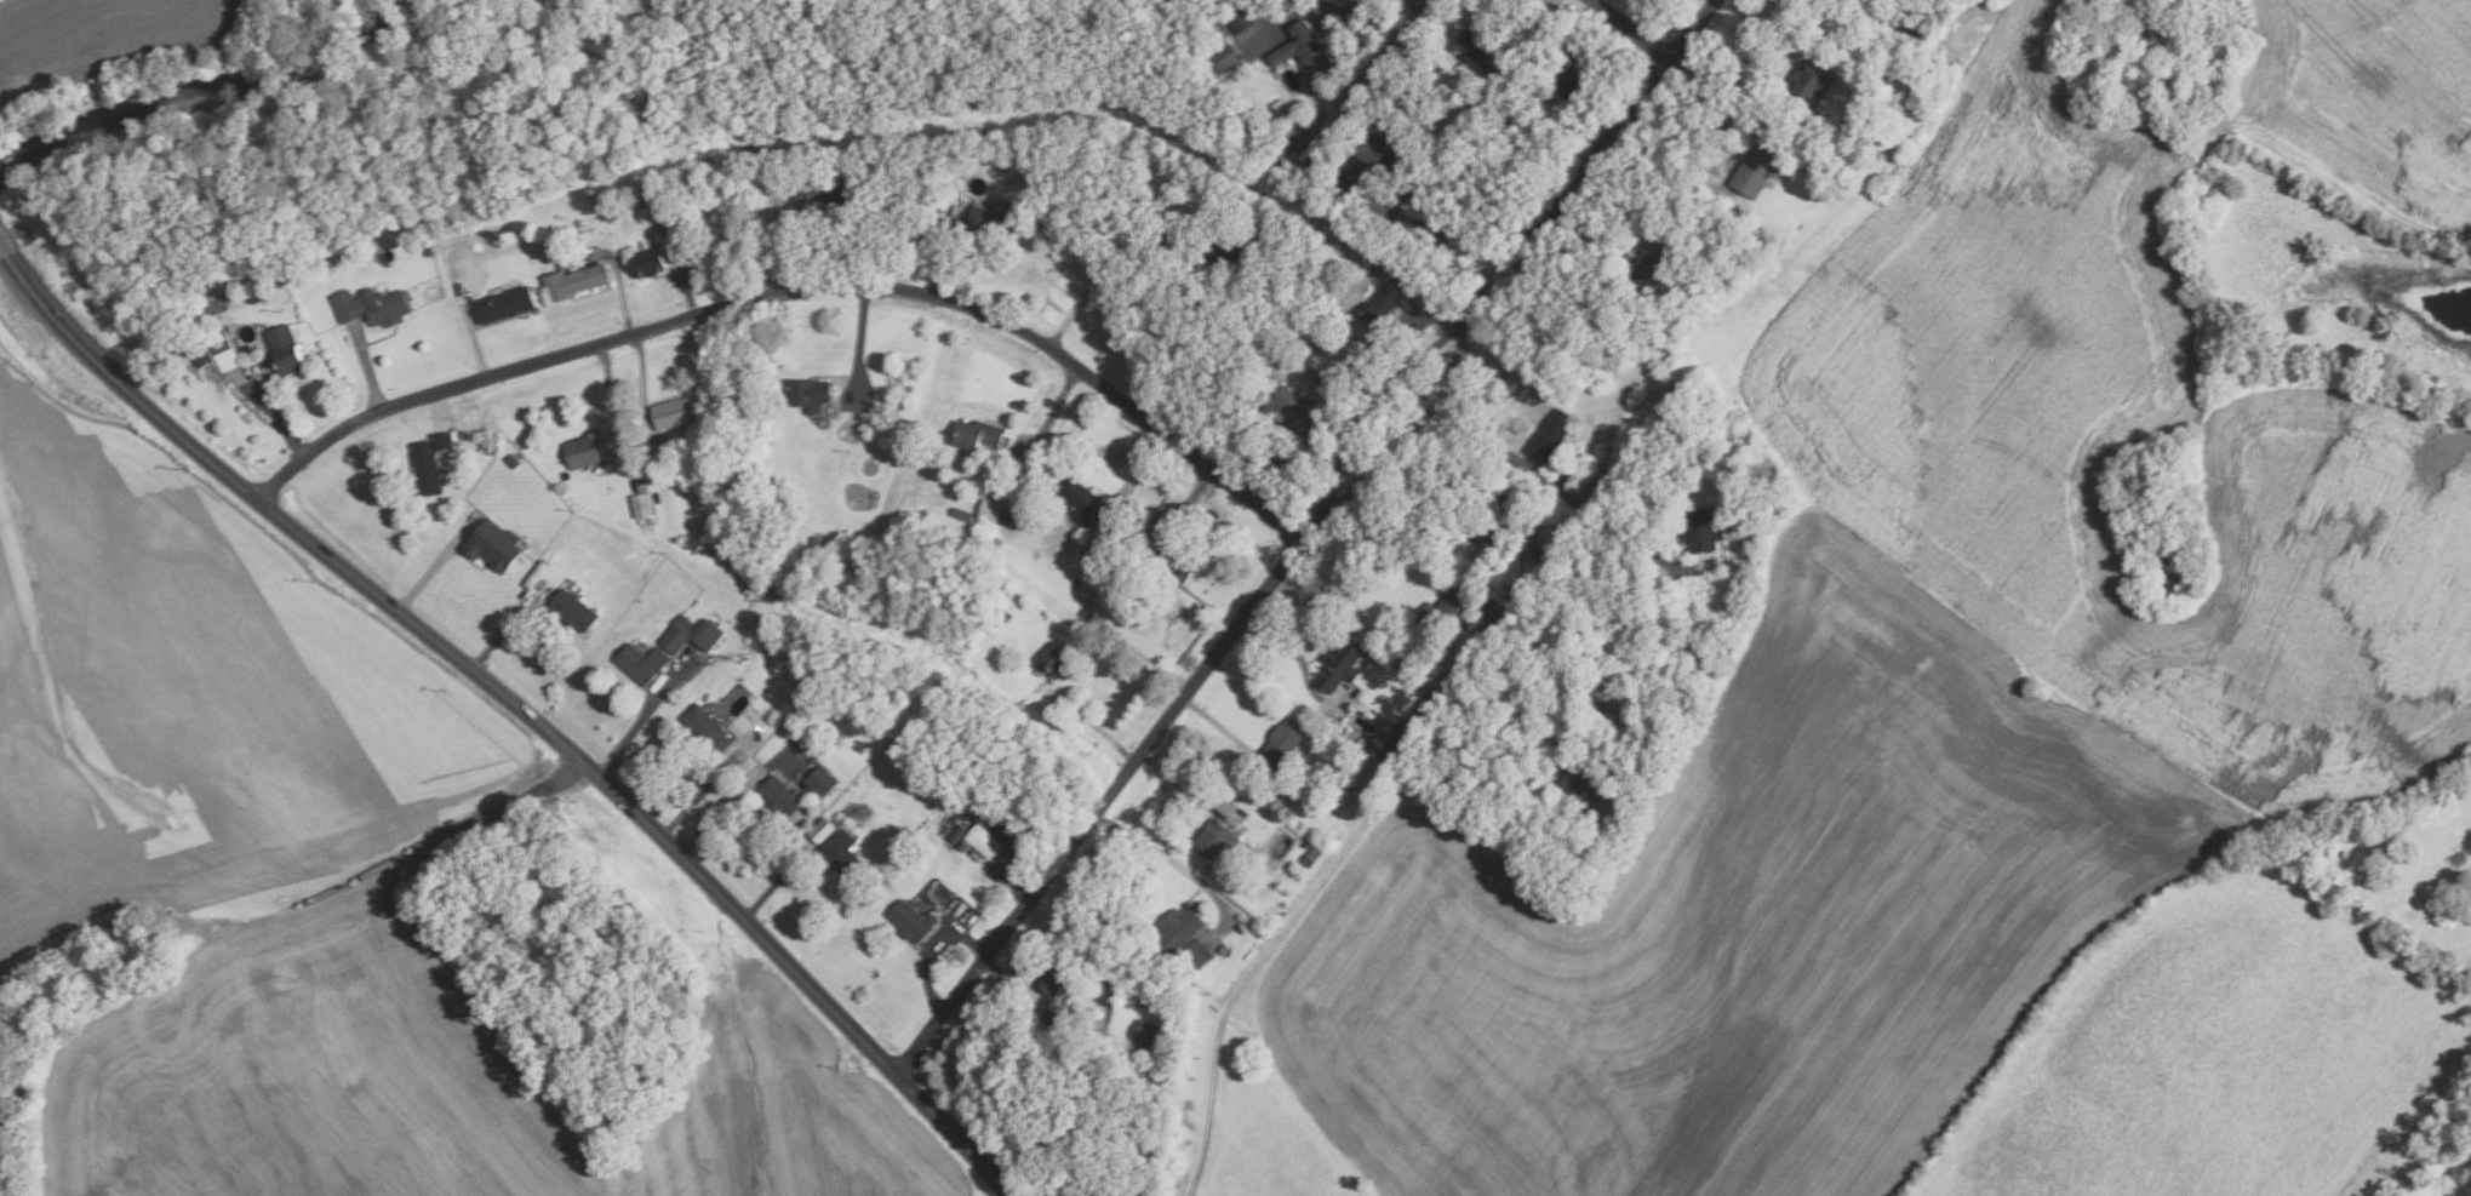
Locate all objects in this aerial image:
building: (1286, 6)
building: (1257, 24)
road: (1631, 28)
building: (1912, 29)
building: (1521, 30)
building: (2152, 30)
building: (1213, 41)
building: (1472, 46)
building: (1304, 51)
road: (1380, 51)
building: (1541, 57)
building: (1220, 59)
building: (1488, 75)
building: (1888, 76)
building: (1575, 78)
building: (1809, 80)
road: (1716, 92)
road: (1831, 118)
building: (1396, 136)
building: (755, 138)
building: (755, 148)
building: (1377, 156)
building: (1316, 164)
building: (1354, 171)
building: (1755, 171)
building: (823, 190)
road: (2350, 190)
building: (593, 199)
building: (942, 201)
building: (647, 202)
road: (1424, 202)
building: (990, 219)
building: (416, 225)
building: (660, 228)
building: (930, 231)
road: (782, 235)
building: (1220, 245)
building: (427, 250)
building: (1706, 252)
road: (944, 258)
building: (355, 259)
road: (1518, 259)
building: (645, 263)
building: (1652, 267)
building: (1375, 270)
road: (686, 276)
building: (572, 281)
road: (1105, 282)
road: (795, 288)
road: (622, 293)
building: (370, 305)
building: (502, 305)
building: (213, 307)
building: (1379, 307)
road: (1401, 326)
road: (476, 343)
road: (863, 345)
building: (222, 350)
building: (282, 350)
building: (198, 355)
road: (367, 367)
road: (641, 379)
building: (1314, 387)
building: (807, 394)
road: (611, 397)
road: (439, 407)
road: (1057, 408)
building: (1288, 408)
building: (674, 411)
road: (278, 416)
road: (1344, 418)
building: (977, 435)
building: (1549, 437)
building: (582, 451)
building: (1602, 457)
building: (511, 460)
building: (428, 463)
road: (1472, 470)
road: (1134, 474)
road: (1558, 493)
road: (1190, 498)
building: (1076, 499)
building: (641, 504)
building: (988, 509)
building: (961, 515)
building: (1700, 530)
building: (1485, 538)
building: (492, 544)
building: (816, 544)
road: (1401, 544)
building: (1168, 556)
building: (1544, 557)
road: (434, 565)
building: (571, 611)
building: (1438, 612)
building: (1003, 613)
building: (1469, 613)
building: (1493, 628)
building: (688, 634)
road: (497, 640)
road: (1297, 659)
building: (1058, 662)
building: (1339, 662)
building: (640, 663)
building: (803, 677)
building: (1451, 680)
road: (1192, 686)
building: (1609, 696)
road: (514, 708)
building: (1422, 709)
road: (1216, 723)
building: (739, 725)
road: (1093, 725)
building: (707, 728)
road: (631, 733)
building: (1280, 745)
building: (793, 749)
building: (1392, 749)
building: (1654, 769)
building: (1578, 778)
building: (819, 780)
road: (1184, 788)
building: (1357, 792)
building: (778, 795)
road: (696, 799)
road: (717, 813)
building: (954, 820)
building: (946, 829)
building: (820, 830)
building: (956, 832)
building: (933, 837)
building: (1214, 839)
building: (982, 841)
building: (962, 845)
building: (841, 854)
building: (1311, 857)
road: (1169, 859)
road: (1329, 866)
road: (772, 886)
building: (910, 921)
building: (1183, 935)
road: (938, 950)
building: (1223, 950)
building: (1052, 983)
road: (1016, 988)
building: (1146, 1034)

